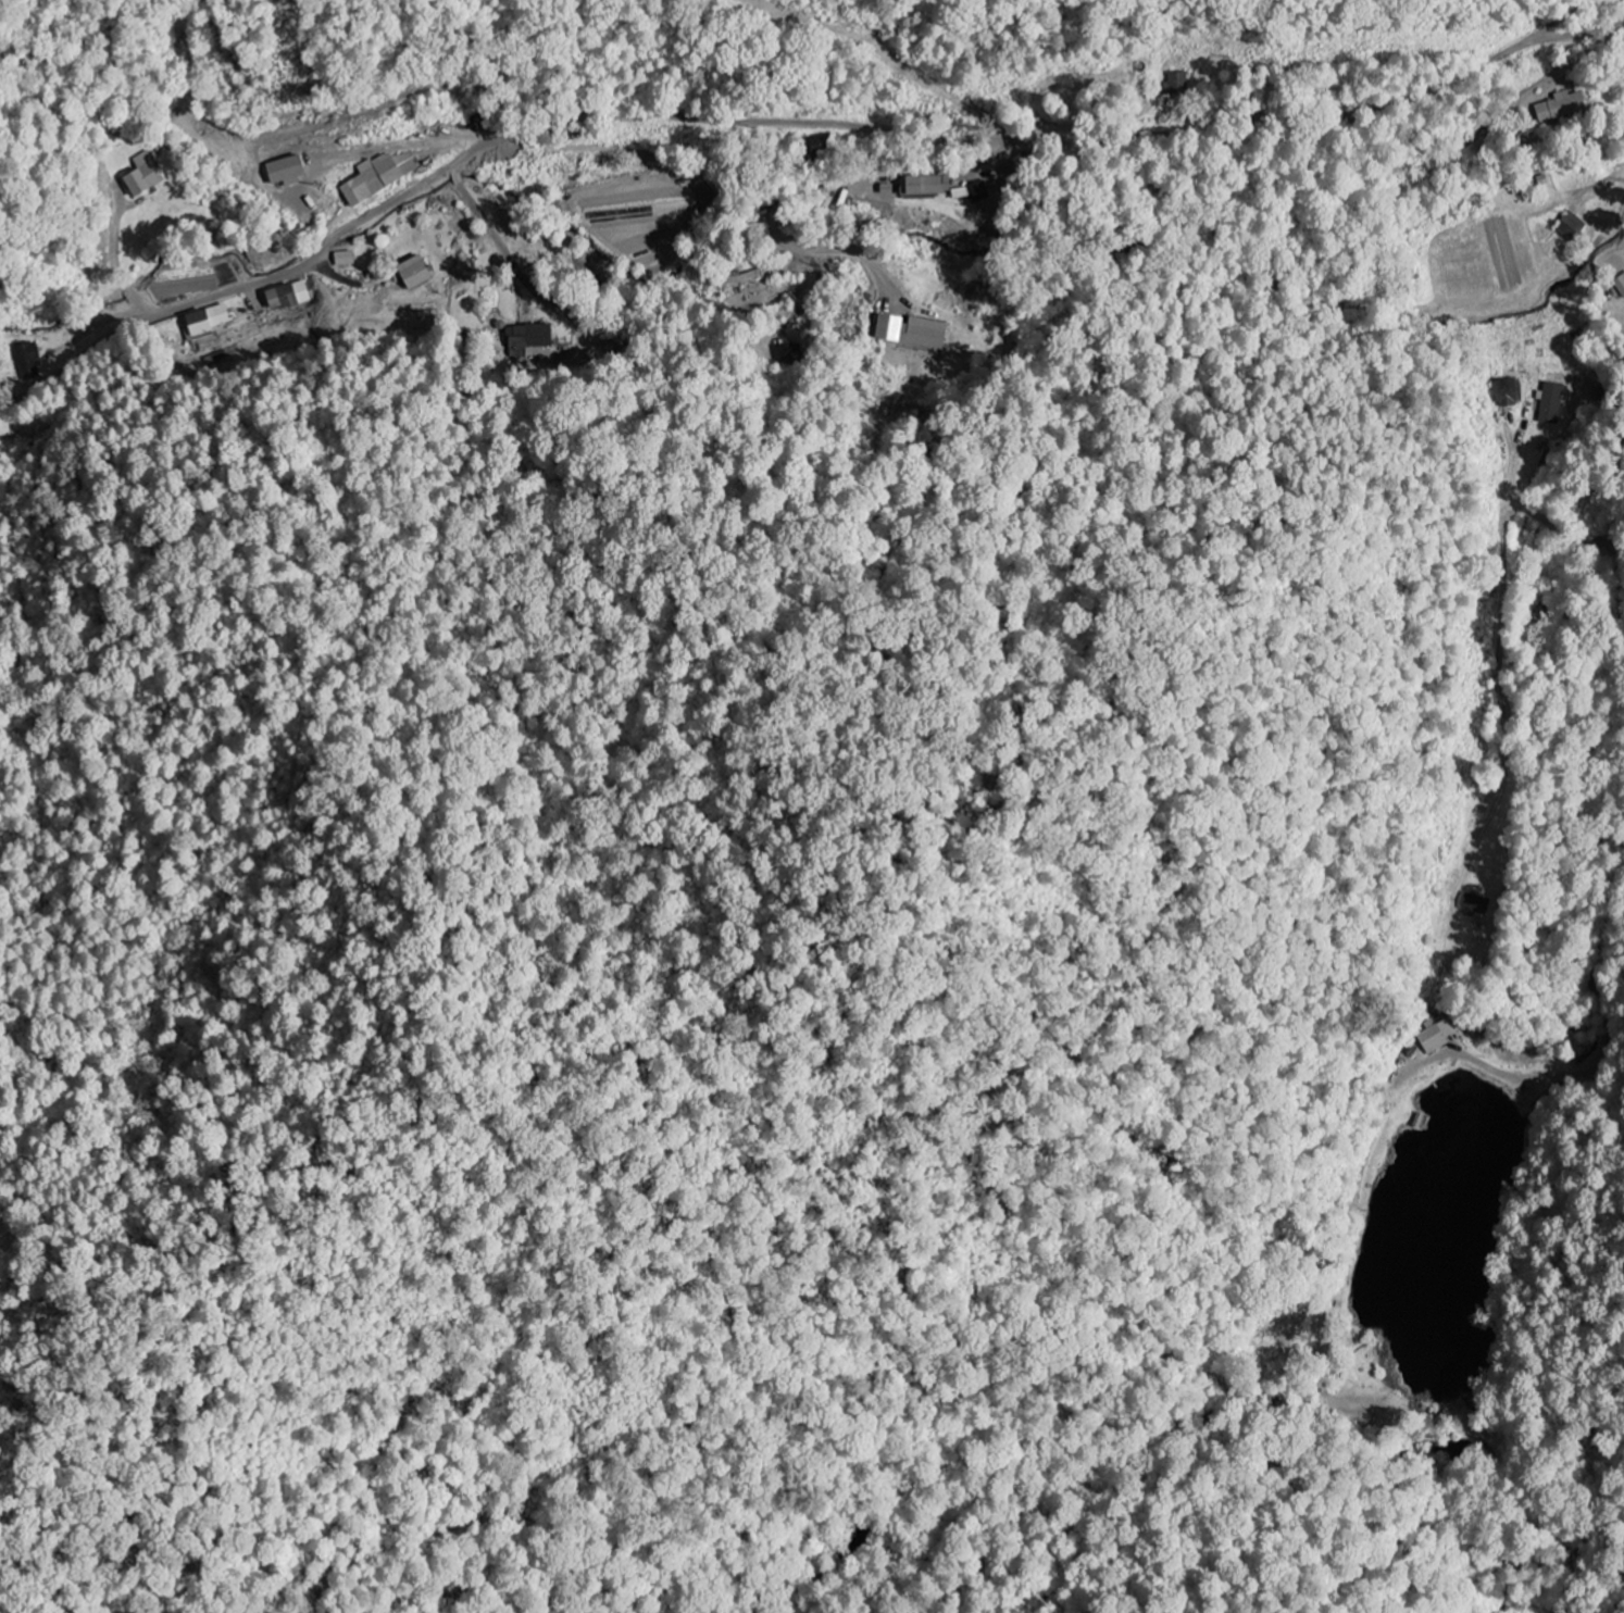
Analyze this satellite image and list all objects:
building: (1177, 83)
building: (1561, 107)
road: (785, 122)
road: (973, 165)
building: (287, 171)
building: (145, 175)
building: (380, 176)
road: (838, 183)
building: (926, 186)
building: (979, 192)
building: (961, 193)
building: (1572, 226)
building: (345, 259)
building: (415, 273)
building: (752, 276)
building: (1621, 285)
building: (288, 296)
building: (209, 321)
building: (913, 332)
building: (28, 355)
building: (1509, 392)
building: (1552, 403)
road: (1620, 491)
building: (1476, 903)
building: (1433, 1037)

